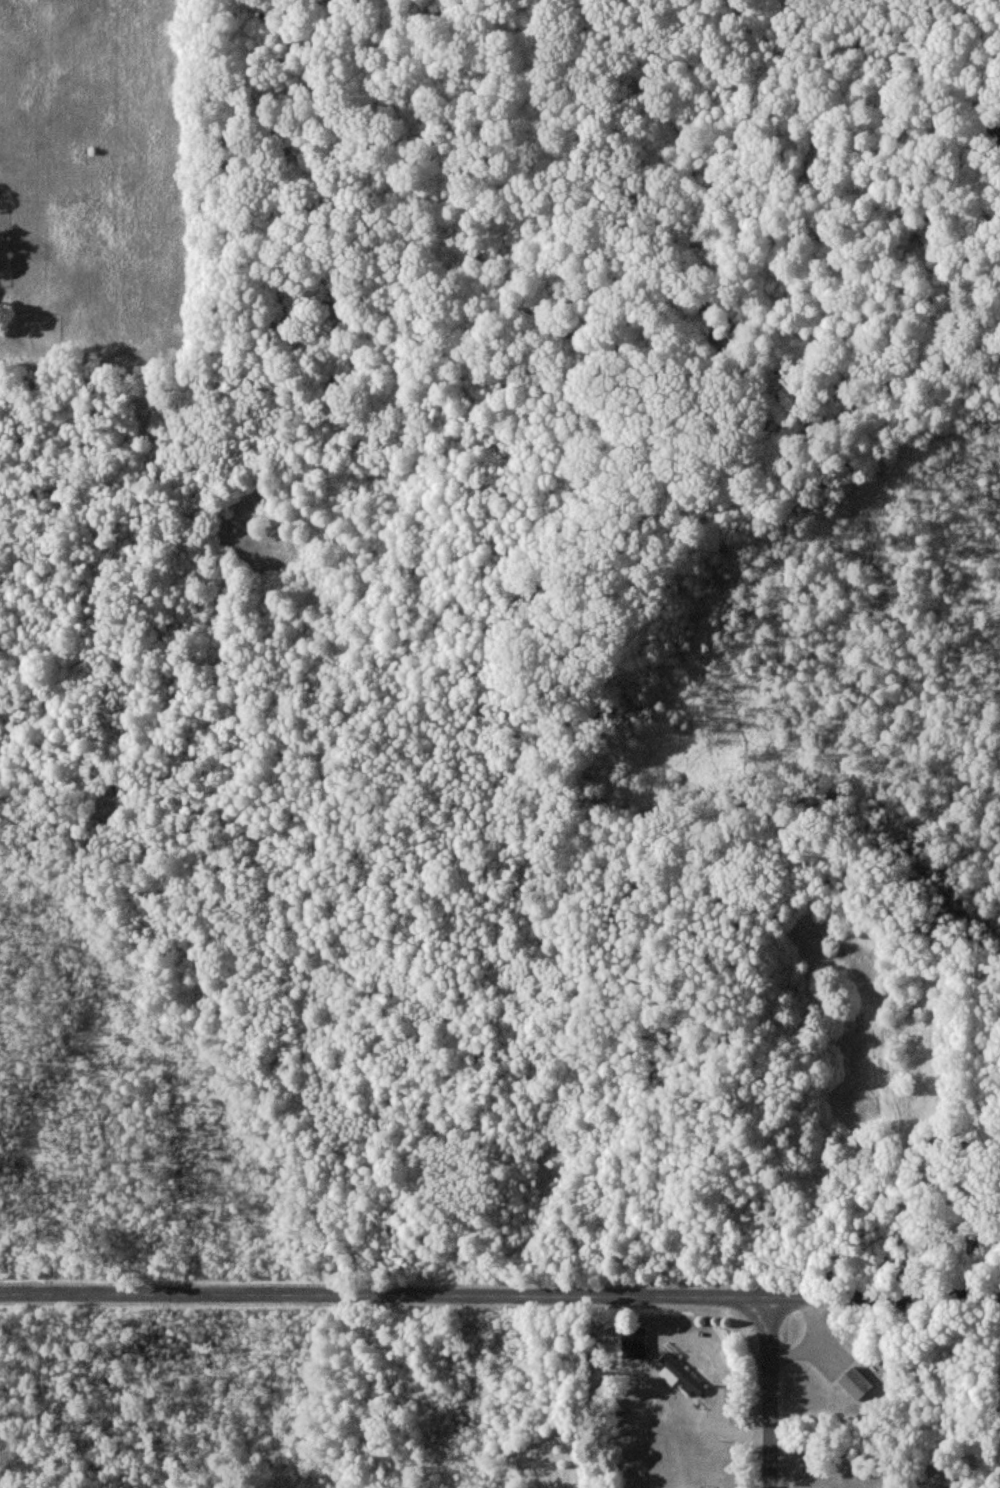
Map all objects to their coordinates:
road: (499, 1298)
building: (635, 1343)
building: (677, 1373)
building: (856, 1384)
road: (770, 1394)

